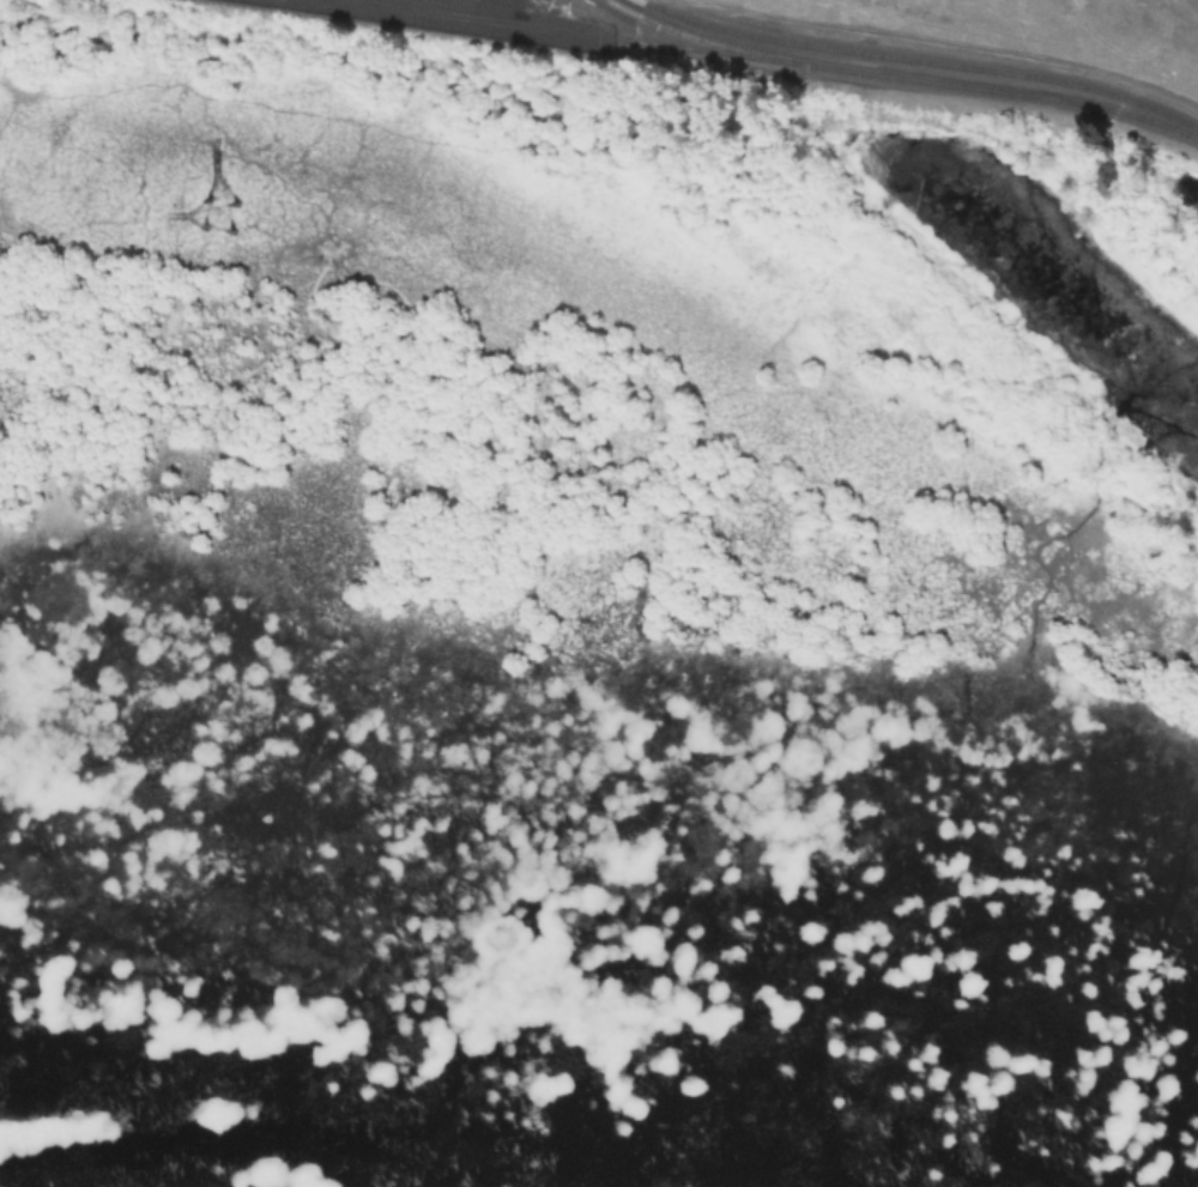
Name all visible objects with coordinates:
railway: (473, 6)
railway: (545, 20)
railway: (576, 32)
railway: (712, 41)
railway: (920, 60)
railway: (1011, 93)
power tower: (218, 213)

